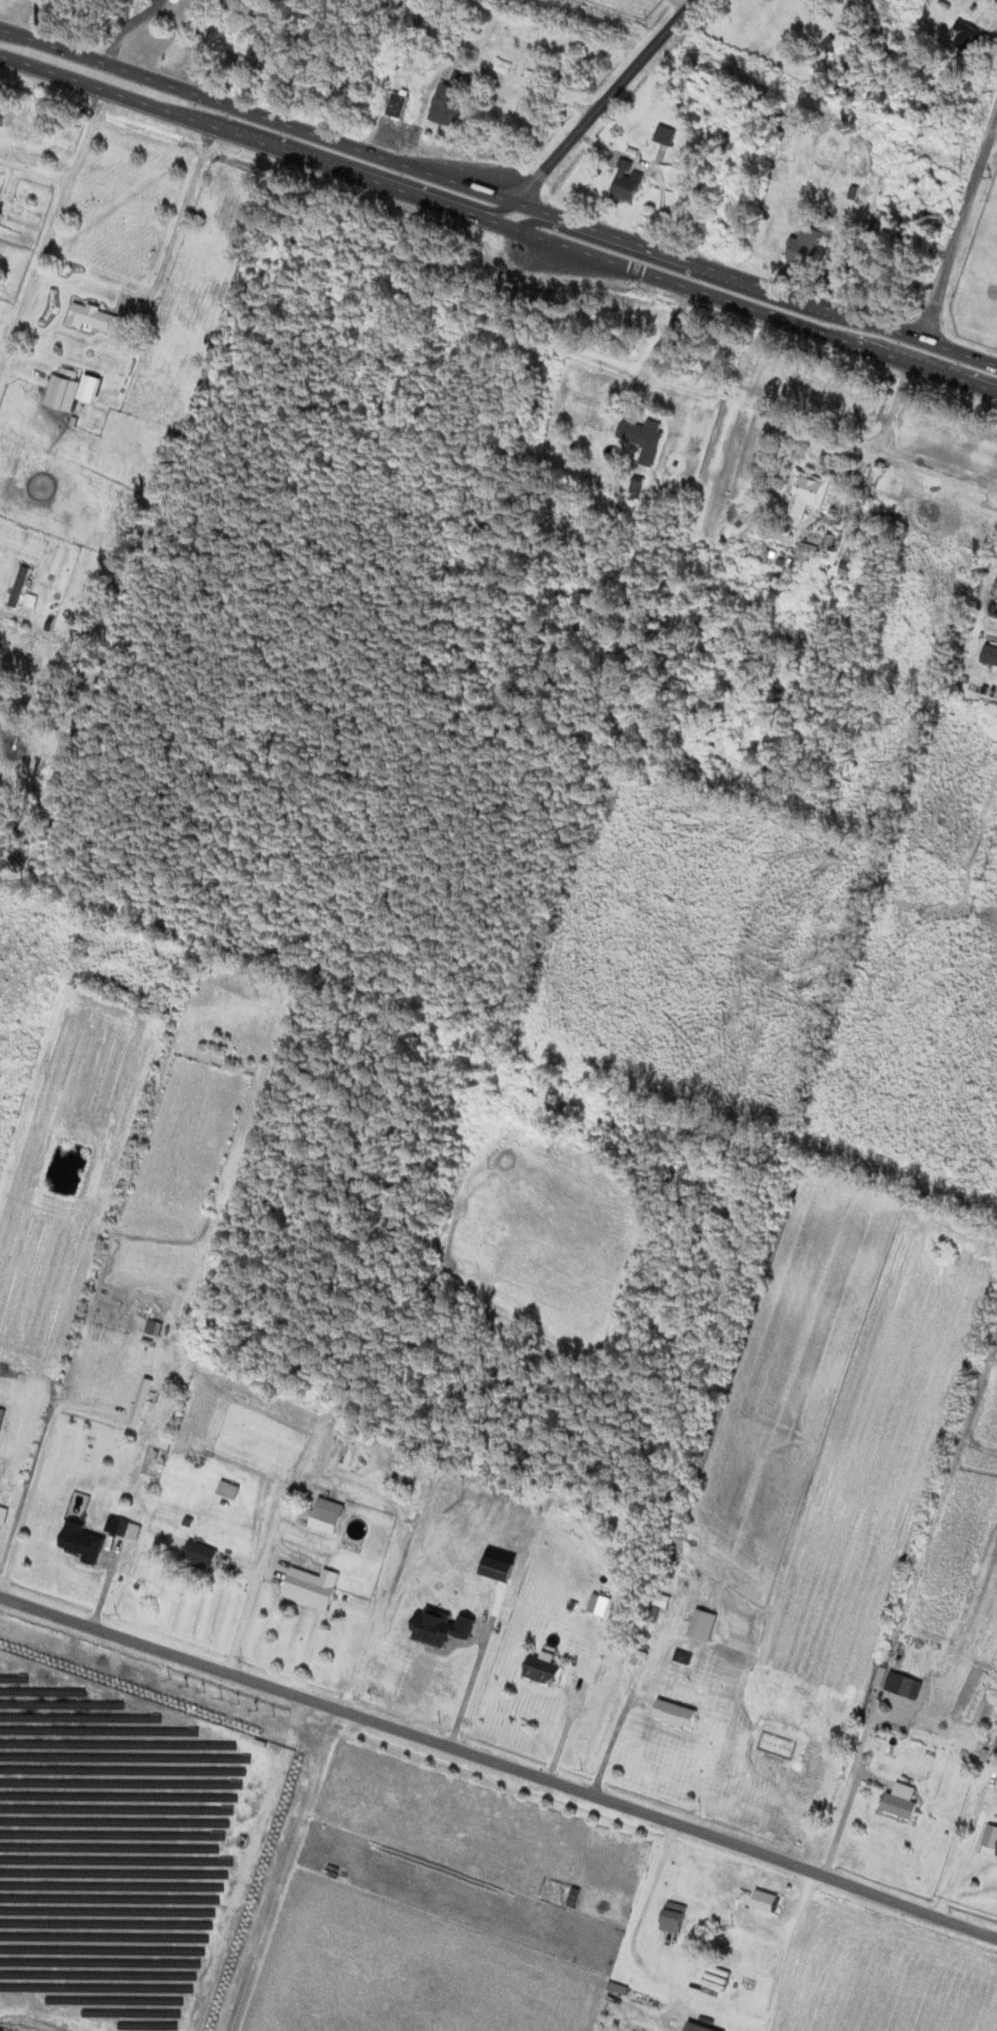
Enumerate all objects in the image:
building: (970, 36)
road: (610, 102)
building: (449, 104)
building: (399, 105)
building: (666, 134)
road: (36, 169)
building: (629, 181)
road: (498, 195)
building: (1, 216)
road: (498, 222)
road: (51, 231)
road: (956, 244)
building: (808, 249)
building: (99, 319)
building: (65, 389)
building: (646, 436)
road: (942, 467)
building: (812, 493)
building: (809, 552)
building: (849, 564)
building: (22, 586)
building: (991, 654)
building: (156, 1327)
building: (168, 1416)
building: (2, 1417)
building: (231, 1489)
building: (4, 1515)
building: (329, 1518)
building: (84, 1541)
building: (203, 1552)
building: (314, 1587)
building: (664, 1600)
building: (705, 1624)
building: (684, 1655)
building: (546, 1670)
building: (678, 1713)
road: (612, 1747)
road: (498, 1762)
building: (902, 1805)
building: (993, 1820)
building: (768, 1901)
building: (676, 1917)

